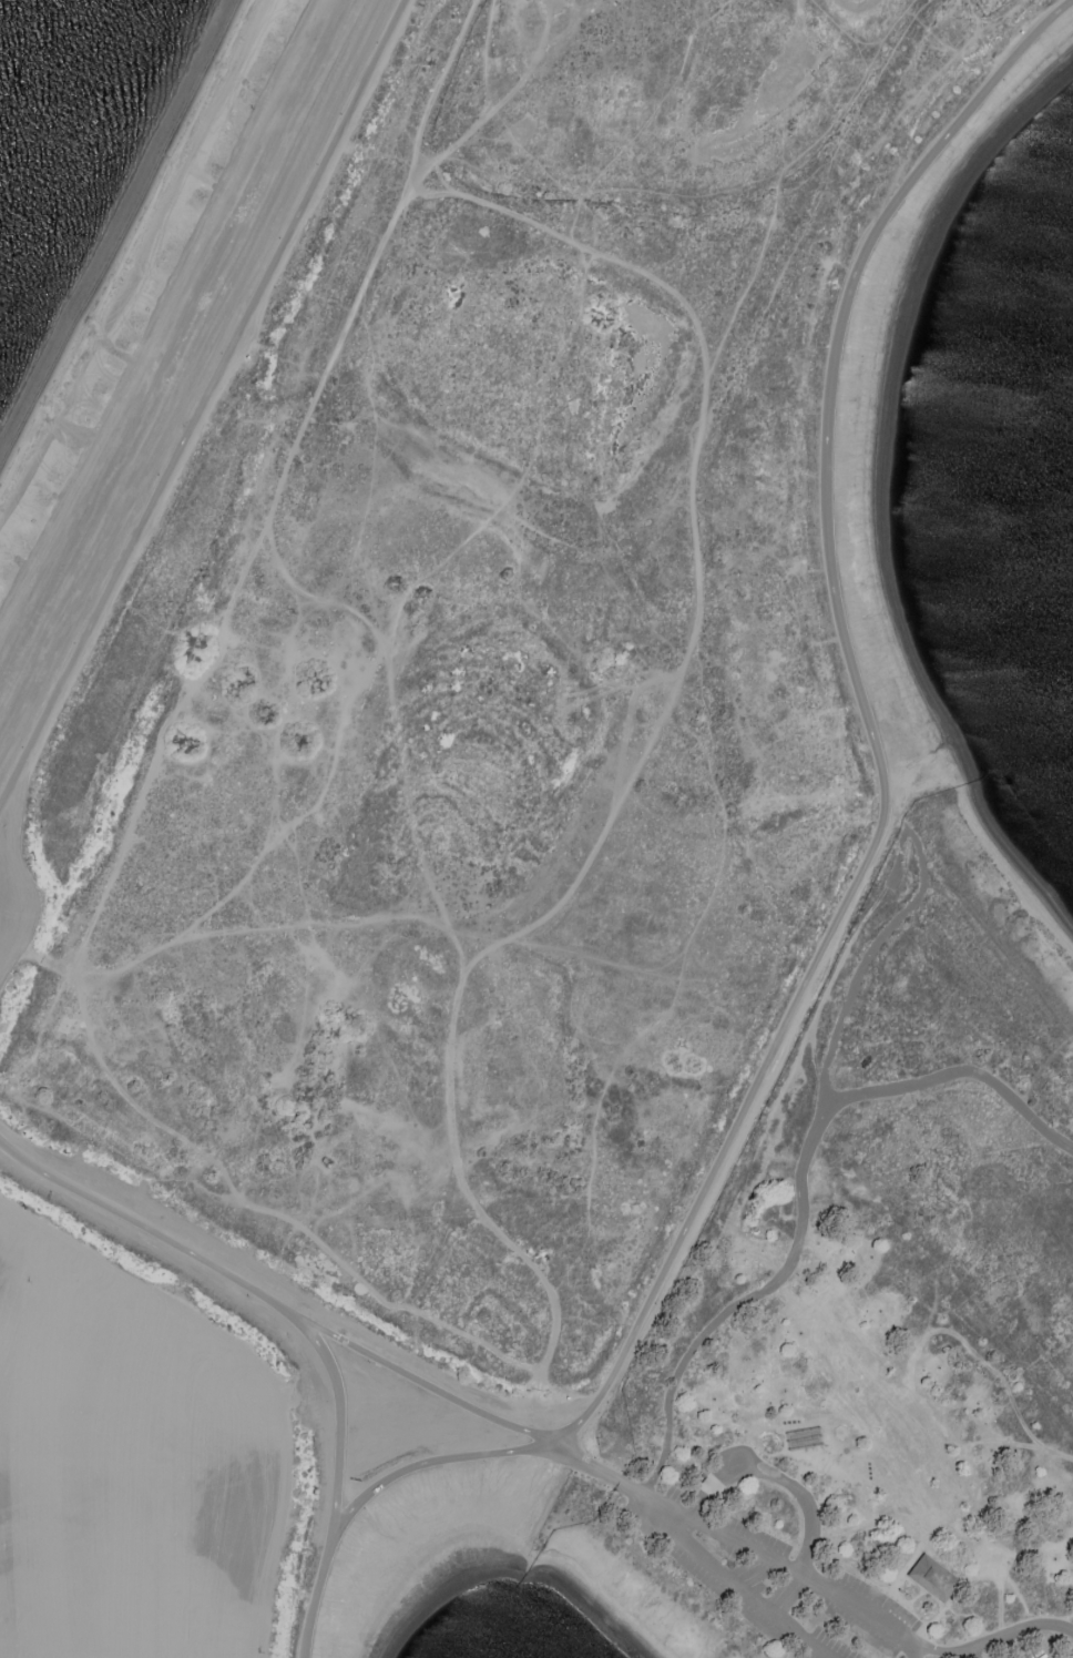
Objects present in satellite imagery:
road: (201, 403)
road: (868, 722)
park: (518, 868)
road: (870, 953)
road: (801, 1190)
road: (145, 1229)
road: (423, 1381)
road: (420, 1463)
road: (597, 1469)
road: (775, 1479)
road: (337, 1481)
road: (785, 1569)
building: (933, 1576)
road: (727, 1585)
road: (1020, 1631)
road: (1009, 1649)
road: (942, 1655)
road: (972, 1655)

